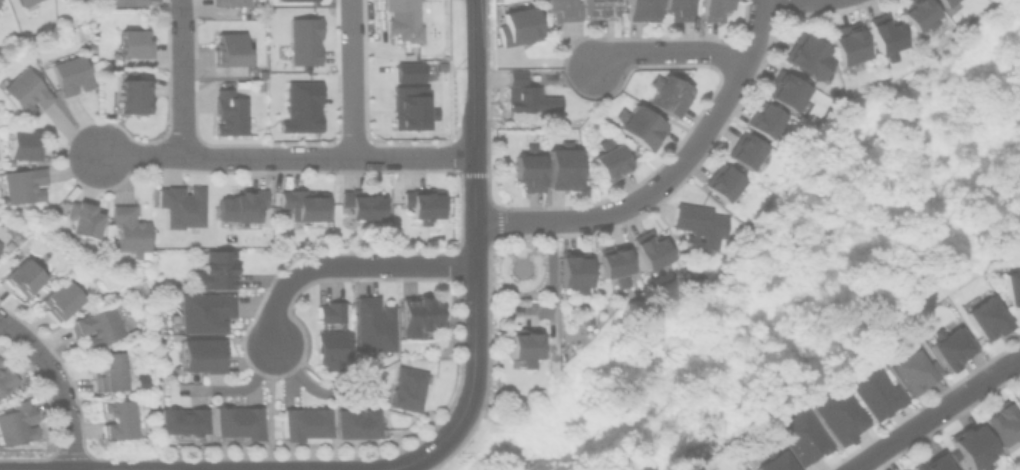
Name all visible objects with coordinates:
building: (291, 0)
road: (470, 0)
building: (0, 1)
road: (789, 1)
building: (21, 2)
building: (123, 2)
building: (225, 2)
building: (943, 2)
building: (595, 8)
building: (559, 9)
building: (675, 9)
building: (712, 9)
building: (640, 10)
building: (916, 13)
building: (402, 19)
building: (516, 25)
road: (755, 34)
building: (883, 35)
building: (303, 40)
building: (129, 43)
building: (845, 43)
building: (228, 49)
road: (665, 52)
building: (805, 55)
building: (67, 74)
road: (182, 76)
building: (512, 77)
road: (351, 78)
road: (472, 78)
building: (785, 90)
building: (22, 91)
building: (129, 94)
building: (665, 95)
building: (408, 97)
building: (526, 99)
building: (300, 106)
building: (226, 112)
building: (762, 119)
building: (637, 126)
building: (25, 145)
building: (742, 150)
road: (182, 154)
road: (370, 156)
building: (606, 160)
building: (560, 167)
building: (526, 169)
building: (720, 179)
building: (20, 182)
road: (640, 199)
building: (302, 201)
building: (360, 201)
building: (421, 202)
building: (179, 203)
building: (239, 205)
building: (81, 219)
building: (696, 224)
building: (127, 228)
building: (0, 246)
building: (649, 247)
building: (612, 262)
road: (344, 264)
building: (215, 267)
building: (571, 268)
building: (18, 273)
road: (550, 277)
building: (1011, 283)
building: (60, 298)
road: (474, 298)
building: (202, 309)
building: (327, 309)
building: (415, 312)
building: (985, 315)
building: (370, 322)
building: (93, 324)
building: (328, 343)
building: (521, 344)
building: (950, 345)
building: (199, 352)
building: (108, 369)
building: (913, 369)
building: (5, 379)
road: (57, 383)
building: (404, 386)
building: (873, 388)
building: (1016, 393)
building: (838, 412)
road: (933, 412)
building: (119, 417)
building: (179, 419)
building: (233, 419)
building: (300, 420)
building: (15, 421)
building: (355, 421)
building: (1001, 421)
building: (800, 433)
building: (973, 446)
building: (772, 460)
building: (931, 461)
road: (104, 469)
road: (332, 469)

